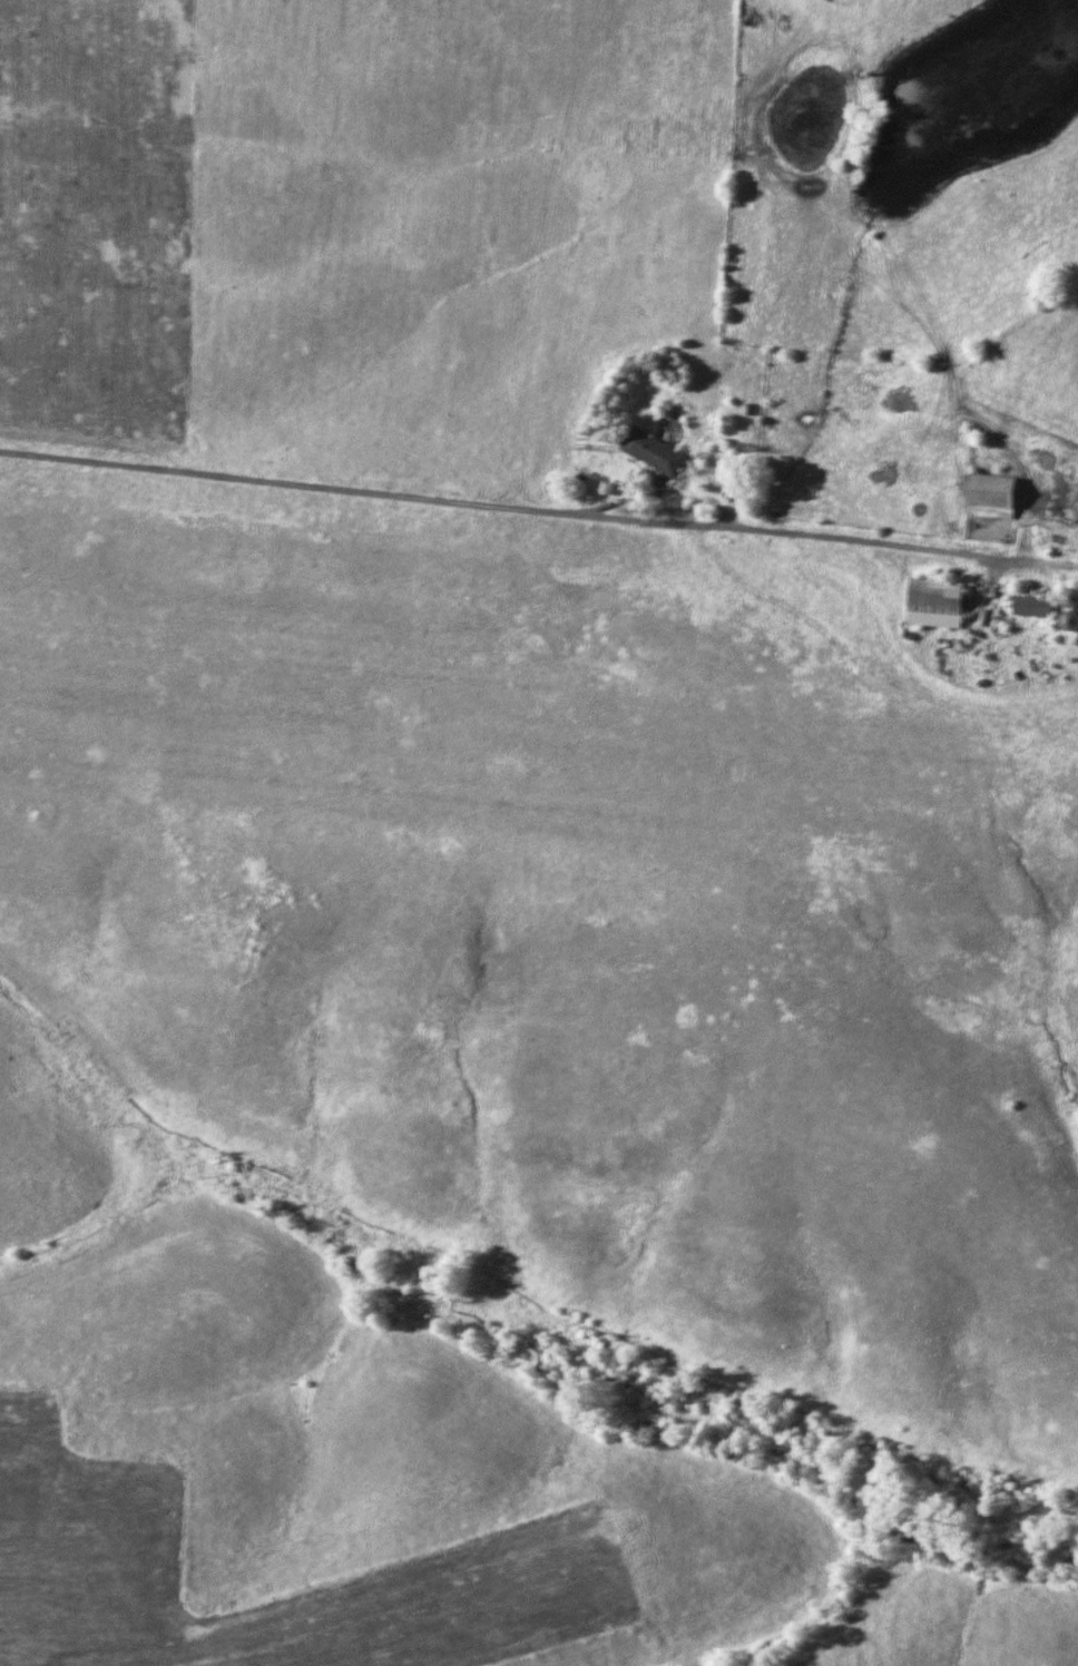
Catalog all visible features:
road: (336, 484)
building: (1001, 497)
building: (943, 595)
building: (1027, 606)

